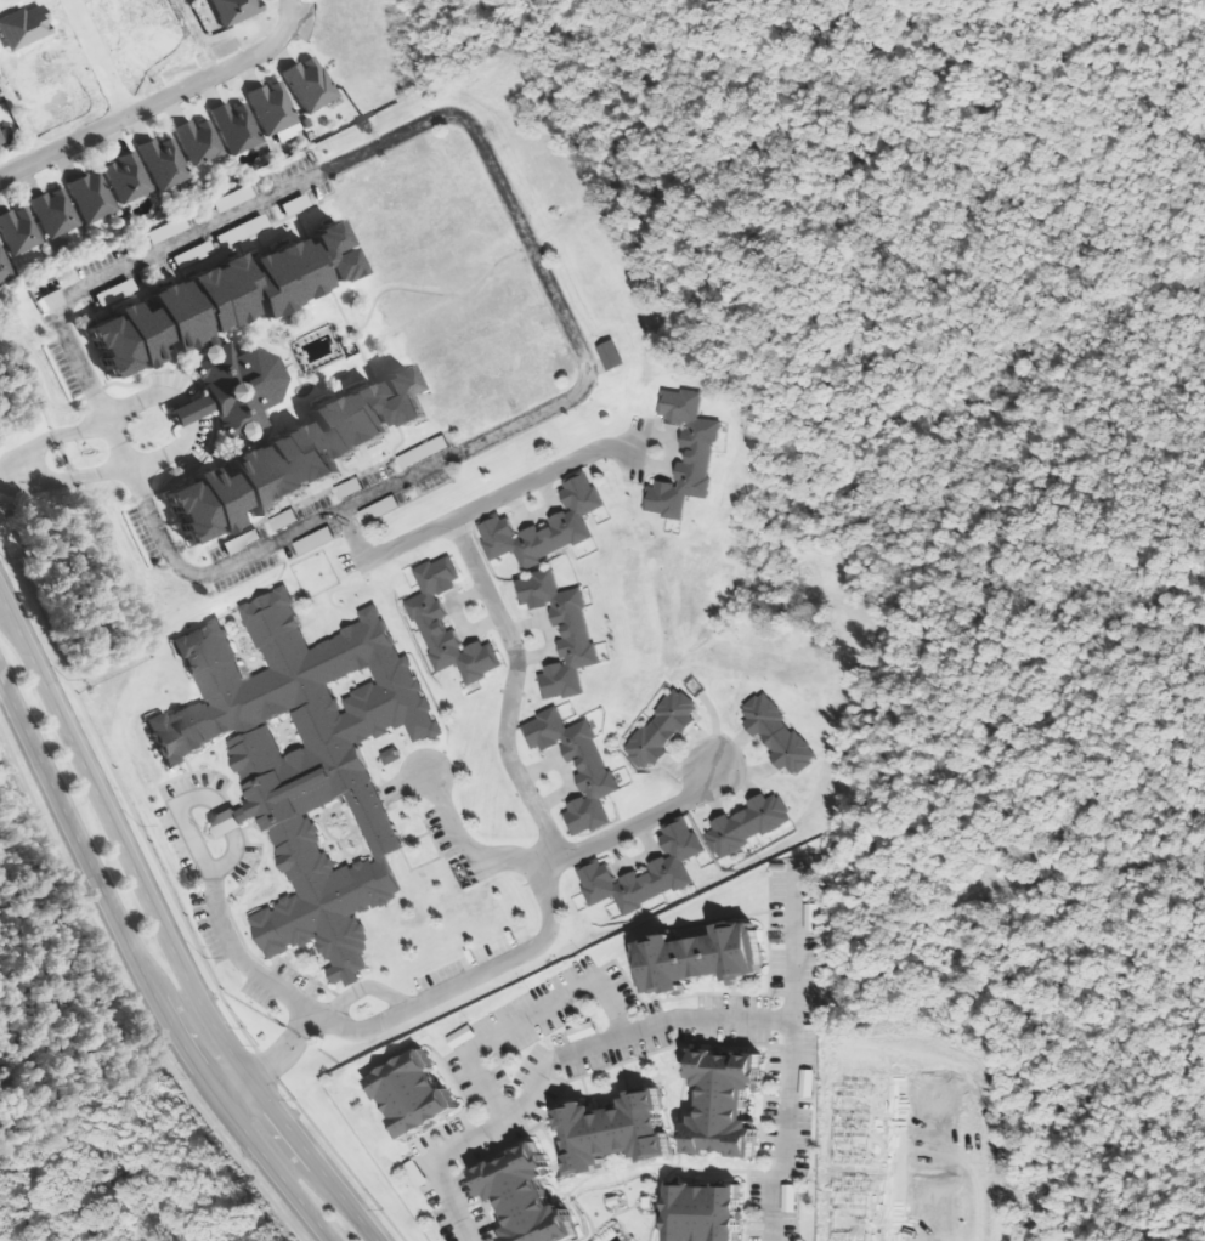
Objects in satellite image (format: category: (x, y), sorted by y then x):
building: (236, 10)
building: (311, 85)
road: (158, 100)
building: (275, 112)
building: (237, 129)
building: (6, 137)
building: (199, 143)
building: (165, 164)
road: (330, 166)
building: (129, 180)
building: (94, 198)
building: (234, 199)
building: (56, 214)
building: (19, 231)
building: (5, 268)
building: (211, 300)
building: (616, 356)
building: (234, 387)
building: (186, 409)
road: (115, 412)
road: (183, 412)
road: (117, 444)
road: (32, 448)
building: (697, 455)
building: (288, 458)
road: (140, 464)
road: (12, 472)
road: (541, 475)
road: (44, 481)
road: (362, 498)
building: (565, 521)
road: (496, 616)
building: (425, 620)
building: (572, 633)
building: (657, 730)
building: (775, 735)
building: (394, 756)
building: (301, 759)
building: (592, 771)
road: (181, 814)
road: (226, 821)
building: (227, 821)
road: (627, 826)
building: (743, 826)
road: (231, 857)
building: (666, 867)
building: (816, 917)
road: (545, 935)
road: (162, 937)
road: (236, 956)
building: (696, 957)
road: (141, 976)
road: (366, 987)
road: (527, 1018)
road: (304, 1021)
building: (465, 1036)
road: (790, 1054)
road: (275, 1060)
road: (551, 1062)
building: (811, 1083)
road: (231, 1092)
building: (409, 1094)
building: (719, 1103)
building: (610, 1130)
building: (521, 1197)
building: (793, 1197)
building: (701, 1212)

